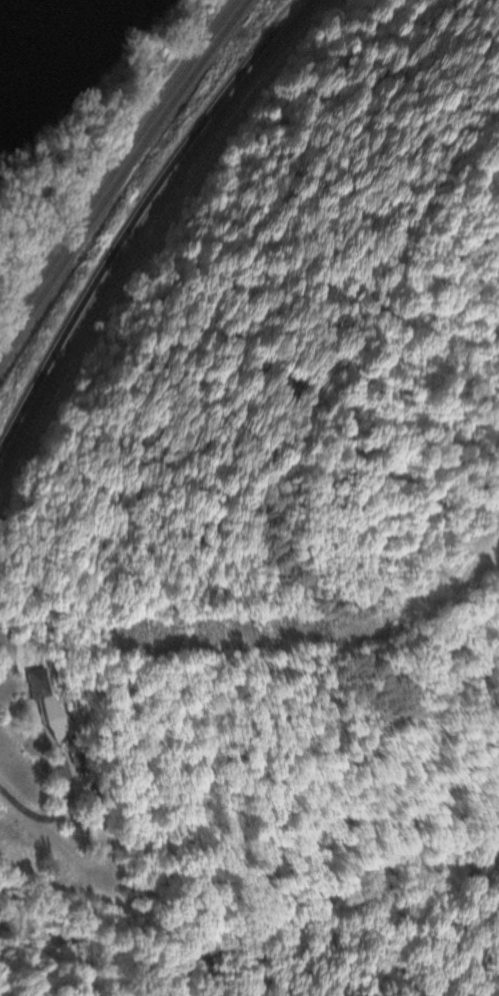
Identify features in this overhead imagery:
railway: (114, 169)
railway: (121, 180)
road: (141, 225)
building: (39, 683)
building: (62, 724)
road: (97, 858)

